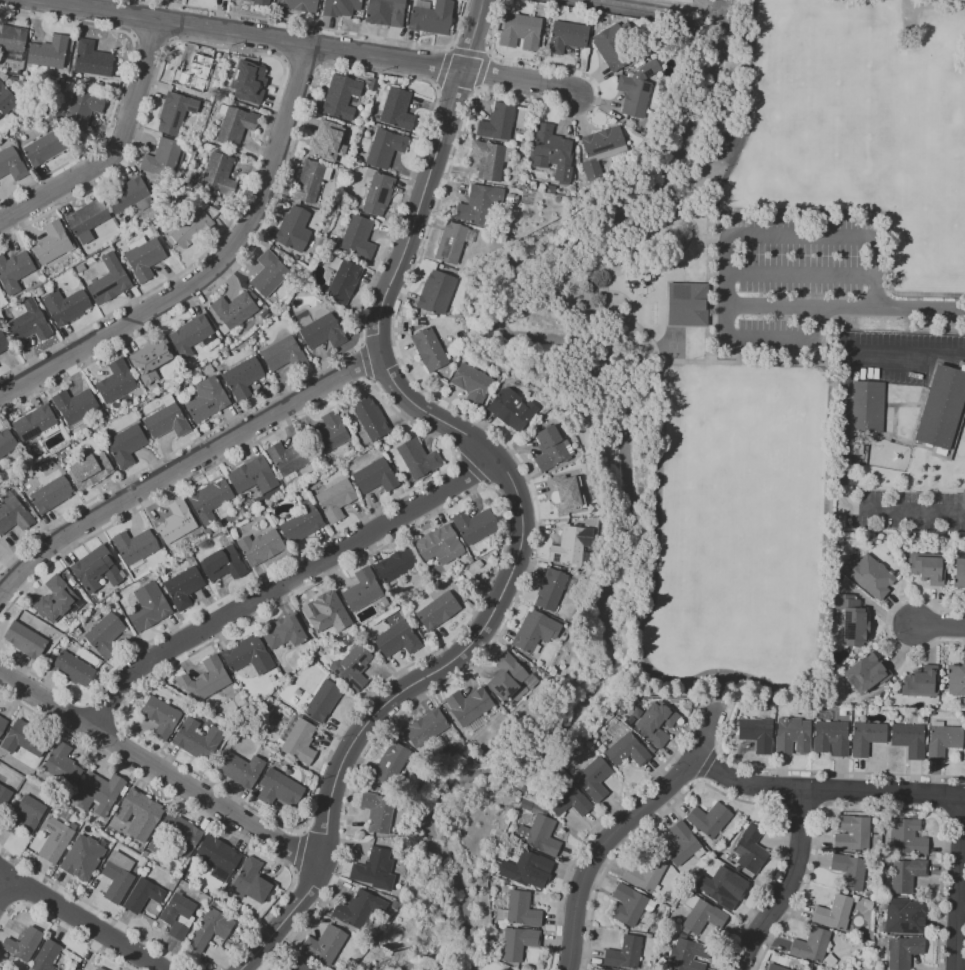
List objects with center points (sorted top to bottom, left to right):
building: (261, 2)
building: (297, 5)
building: (340, 7)
road: (619, 11)
building: (385, 12)
building: (432, 18)
road: (714, 27)
building: (521, 31)
road: (747, 33)
building: (566, 36)
road: (238, 37)
building: (14, 38)
building: (612, 47)
building: (52, 53)
building: (95, 60)
building: (196, 75)
road: (520, 79)
building: (249, 84)
building: (639, 90)
building: (343, 97)
building: (7, 100)
park: (823, 104)
building: (85, 109)
building: (399, 110)
building: (178, 113)
building: (500, 123)
road: (749, 124)
building: (238, 127)
building: (329, 143)
park: (724, 148)
building: (47, 149)
building: (387, 149)
building: (603, 151)
road: (118, 153)
building: (555, 153)
building: (166, 158)
building: (492, 161)
building: (12, 165)
building: (221, 175)
park: (933, 175)
building: (311, 182)
building: (380, 194)
building: (133, 197)
building: (481, 203)
road: (876, 211)
building: (91, 220)
building: (194, 228)
building: (294, 228)
building: (360, 238)
road: (784, 238)
building: (55, 244)
building: (453, 244)
building: (146, 258)
road: (624, 270)
road: (209, 271)
building: (16, 272)
road: (821, 274)
building: (271, 275)
building: (113, 281)
parking lot: (796, 281)
building: (346, 283)
building: (0, 289)
road: (885, 291)
building: (438, 293)
road: (715, 296)
building: (68, 306)
building: (689, 307)
building: (236, 311)
road: (846, 311)
building: (32, 326)
park: (778, 326)
building: (325, 333)
building: (193, 336)
road: (771, 340)
building: (4, 343)
park: (673, 344)
building: (431, 351)
building: (285, 355)
parking lot: (897, 355)
building: (154, 360)
building: (244, 379)
building: (119, 382)
building: (474, 385)
building: (210, 401)
building: (78, 406)
building: (869, 409)
building: (514, 410)
building: (944, 412)
building: (373, 420)
building: (169, 422)
building: (37, 424)
road: (843, 430)
building: (331, 436)
building: (8, 445)
building: (129, 446)
building: (552, 449)
building: (419, 459)
building: (291, 460)
road: (185, 468)
building: (92, 471)
building: (252, 475)
building: (377, 478)
building: (567, 490)
building: (54, 495)
road: (518, 497)
building: (212, 501)
building: (338, 501)
building: (15, 517)
building: (179, 523)
road: (827, 523)
building: (304, 526)
building: (479, 526)
park: (739, 530)
road: (656, 543)
building: (443, 546)
building: (137, 547)
building: (263, 548)
building: (574, 548)
building: (226, 565)
building: (401, 566)
building: (930, 569)
building: (99, 570)
building: (872, 575)
building: (960, 575)
road: (284, 586)
building: (186, 588)
building: (364, 591)
building: (553, 591)
building: (58, 600)
building: (151, 608)
building: (440, 612)
building: (325, 614)
building: (854, 622)
road: (939, 625)
building: (289, 633)
building: (536, 633)
building: (106, 635)
building: (399, 640)
building: (28, 641)
building: (251, 656)
building: (354, 668)
building: (76, 670)
building: (869, 674)
building: (509, 677)
building: (209, 679)
building: (957, 680)
building: (923, 683)
road: (735, 698)
building: (325, 703)
building: (471, 707)
building: (164, 717)
building: (658, 723)
building: (3, 724)
building: (428, 729)
road: (702, 734)
building: (759, 735)
building: (795, 737)
building: (868, 738)
building: (833, 739)
building: (28, 740)
building: (200, 740)
building: (911, 741)
building: (945, 742)
building: (302, 743)
building: (629, 752)
building: (67, 765)
building: (393, 765)
building: (242, 770)
road: (159, 772)
building: (596, 778)
road: (824, 790)
building: (282, 791)
building: (102, 793)
building: (5, 798)
building: (572, 802)
building: (528, 806)
building: (141, 809)
building: (380, 812)
building: (36, 814)
building: (711, 820)
building: (540, 835)
building: (854, 835)
building: (178, 837)
building: (908, 838)
building: (58, 841)
building: (684, 845)
building: (753, 851)
road: (597, 853)
building: (222, 855)
building: (85, 859)
building: (373, 866)
building: (531, 867)
building: (852, 871)
building: (647, 875)
building: (909, 875)
building: (120, 877)
road: (778, 880)
road: (956, 882)
building: (254, 883)
building: (723, 890)
road: (10, 892)
building: (145, 896)
building: (630, 906)
building: (361, 909)
building: (523, 909)
building: (836, 914)
building: (907, 917)
building: (169, 918)
building: (706, 918)
road: (78, 921)
building: (212, 930)
building: (520, 943)
building: (327, 944)
building: (26, 945)
building: (813, 945)
building: (624, 952)
building: (906, 952)
building: (687, 955)
building: (49, 956)
building: (293, 964)
building: (777, 968)
building: (101, 969)
building: (504, 969)
building: (603, 969)

